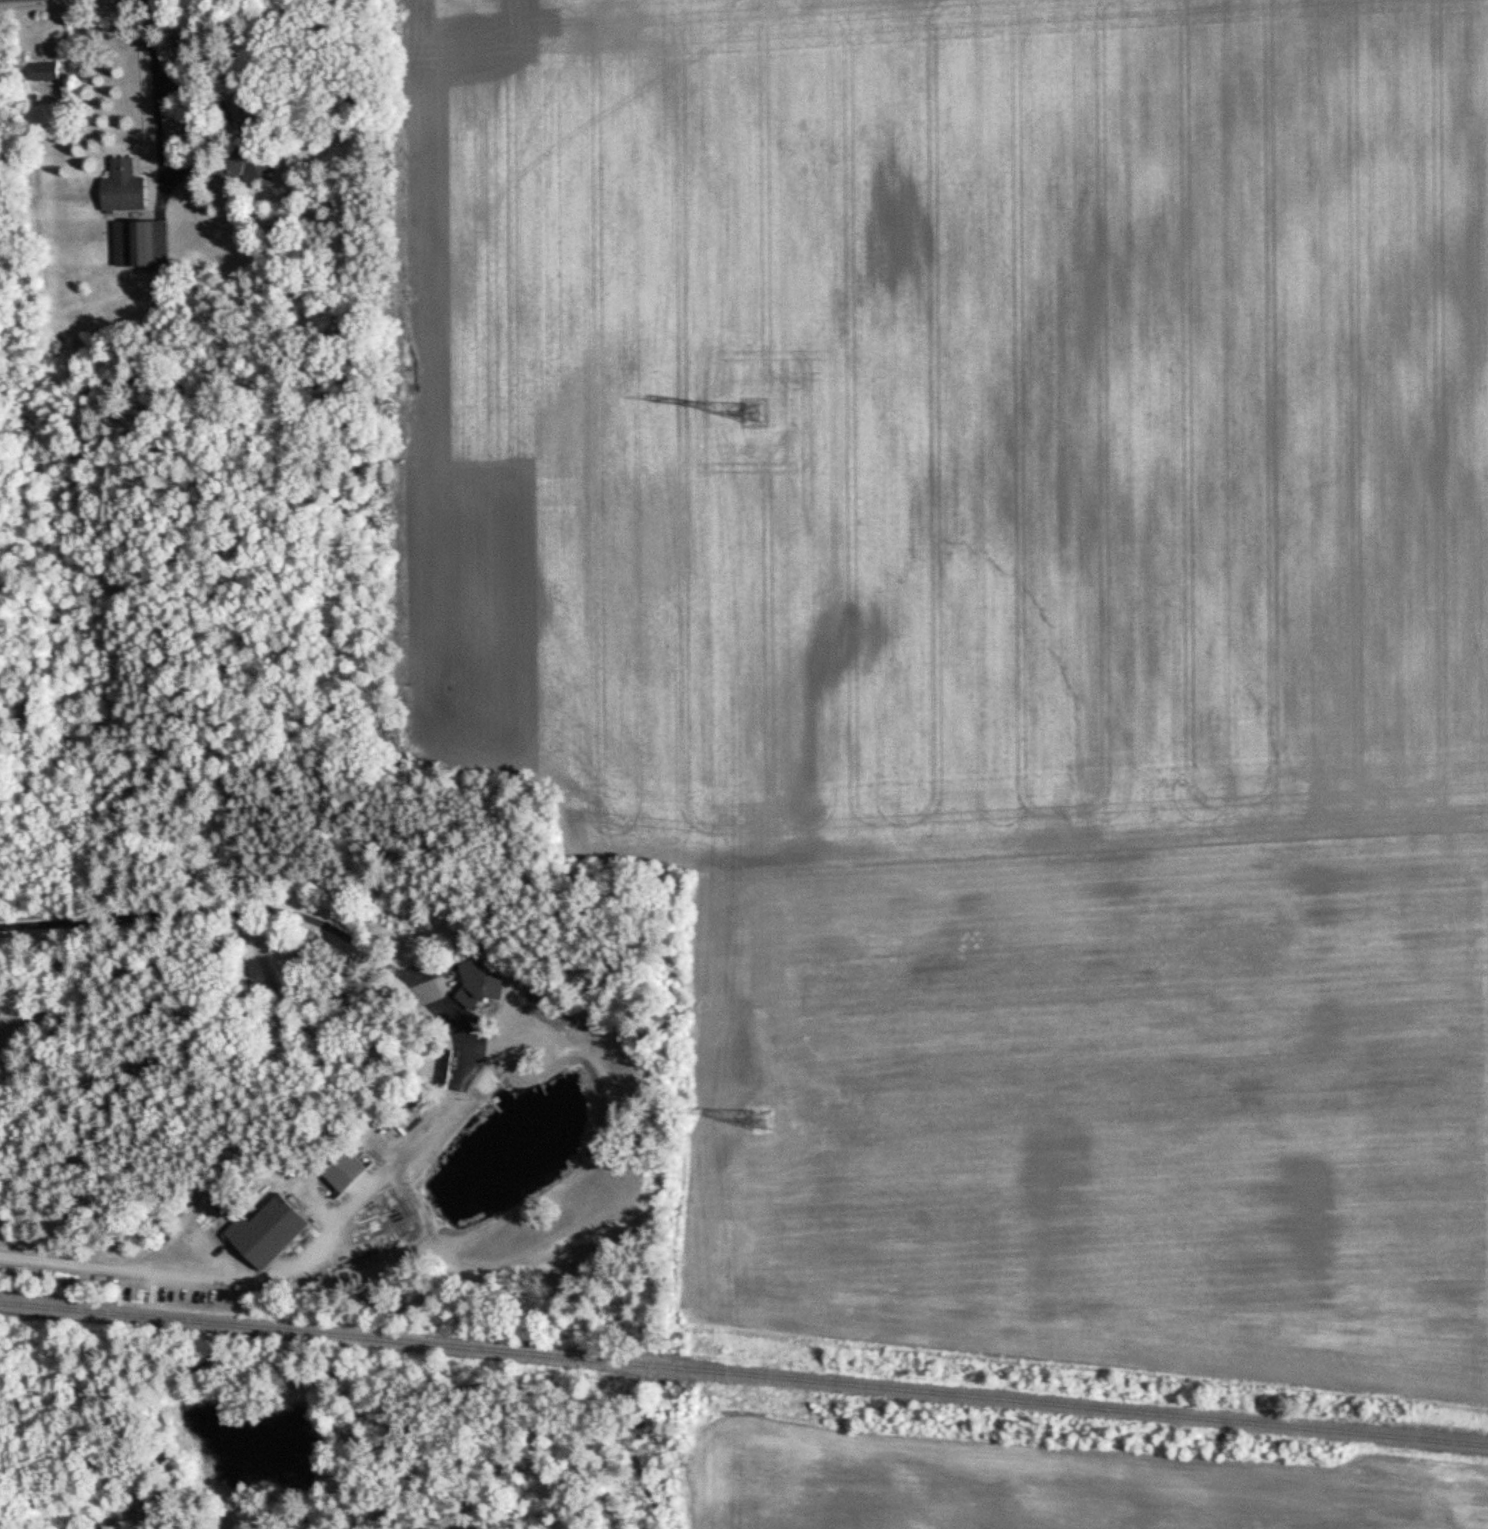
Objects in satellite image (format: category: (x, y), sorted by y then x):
building: (48, 70)
road: (155, 97)
building: (258, 164)
building: (128, 188)
building: (144, 243)
power tower: (751, 413)
road: (217, 904)
building: (482, 984)
power tower: (758, 1121)
building: (351, 1171)
building: (273, 1230)
road: (199, 1276)
railway: (744, 1374)

